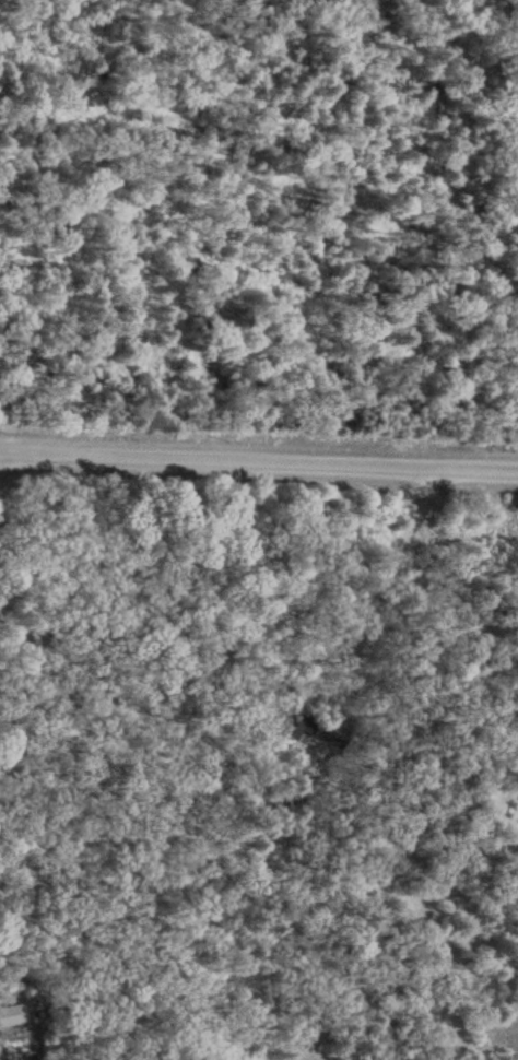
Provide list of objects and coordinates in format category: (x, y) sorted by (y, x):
road: (259, 455)
road: (4, 456)
road: (381, 577)
building: (308, 727)

